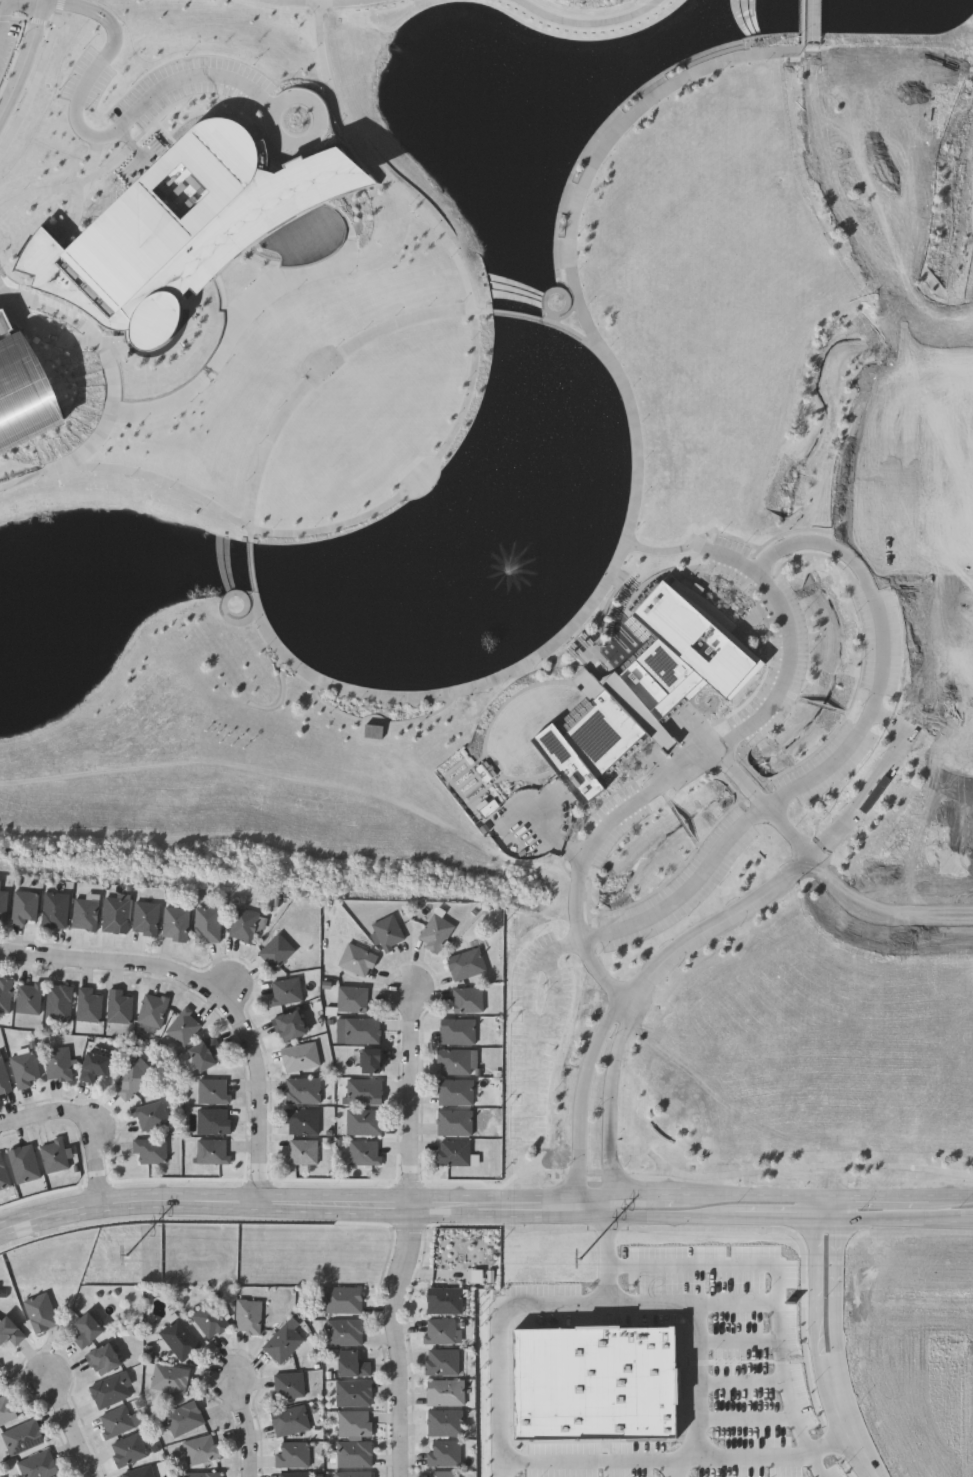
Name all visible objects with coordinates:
road: (21, 6)
road: (3, 18)
parking lot: (10, 28)
road: (813, 28)
road: (24, 59)
road: (88, 135)
road: (837, 196)
building: (182, 225)
road: (573, 269)
road: (944, 322)
road: (104, 363)
water park: (23, 389)
building: (25, 390)
road: (794, 540)
road: (738, 560)
road: (947, 598)
road: (948, 673)
building: (646, 685)
road: (891, 717)
road: (940, 744)
building: (481, 771)
road: (742, 777)
road: (786, 831)
road: (831, 832)
building: (3, 905)
building: (25, 907)
building: (55, 910)
building: (85, 913)
road: (878, 913)
building: (116, 915)
building: (146, 918)
building: (175, 923)
building: (244, 924)
building: (208, 925)
building: (387, 932)
building: (435, 933)
building: (277, 951)
building: (358, 960)
road: (98, 963)
building: (466, 964)
building: (286, 991)
building: (5, 996)
building: (29, 999)
building: (353, 999)
building: (468, 1000)
building: (60, 1003)
building: (89, 1005)
building: (119, 1007)
building: (152, 1013)
building: (292, 1025)
building: (184, 1026)
building: (359, 1030)
building: (458, 1031)
building: (206, 1053)
building: (301, 1057)
building: (372, 1060)
building: (454, 1062)
building: (57, 1064)
building: (95, 1067)
building: (24, 1069)
building: (3, 1076)
building: (132, 1078)
road: (257, 1084)
building: (302, 1090)
building: (213, 1091)
building: (364, 1091)
building: (455, 1091)
road: (413, 1094)
road: (581, 1099)
road: (610, 1106)
building: (150, 1115)
building: (213, 1120)
building: (302, 1121)
building: (363, 1122)
building: (454, 1122)
road: (84, 1123)
building: (150, 1150)
building: (212, 1151)
building: (302, 1151)
building: (363, 1153)
building: (452, 1153)
building: (54, 1156)
building: (23, 1164)
building: (2, 1172)
road: (484, 1195)
road: (827, 1212)
road: (484, 1217)
power tower: (126, 1258)
power tower: (582, 1261)
road: (776, 1278)
road: (836, 1293)
road: (815, 1294)
building: (341, 1300)
building: (444, 1301)
road: (736, 1305)
building: (40, 1312)
building: (247, 1317)
building: (208, 1319)
building: (87, 1330)
building: (439, 1331)
building: (10, 1332)
building: (344, 1332)
road: (400, 1336)
building: (179, 1339)
road: (696, 1339)
road: (737, 1340)
building: (282, 1343)
building: (104, 1359)
building: (441, 1362)
building: (352, 1365)
building: (169, 1379)
building: (596, 1383)
road: (740, 1383)
building: (287, 1385)
building: (110, 1390)
building: (444, 1392)
building: (352, 1393)
building: (5, 1410)
building: (183, 1418)
road: (746, 1419)
building: (289, 1421)
building: (115, 1422)
road: (847, 1422)
road: (69, 1423)
building: (354, 1423)
building: (444, 1423)
road: (248, 1431)
building: (22, 1437)
building: (200, 1449)
building: (128, 1450)
building: (443, 1453)
building: (354, 1454)
building: (291, 1455)
road: (503, 1461)
building: (38, 1465)
road: (815, 1465)
road: (675, 1468)
road: (502, 1469)
building: (138, 1472)
building: (201, 1474)
building: (291, 1474)
building: (352, 1474)
building: (443, 1474)

